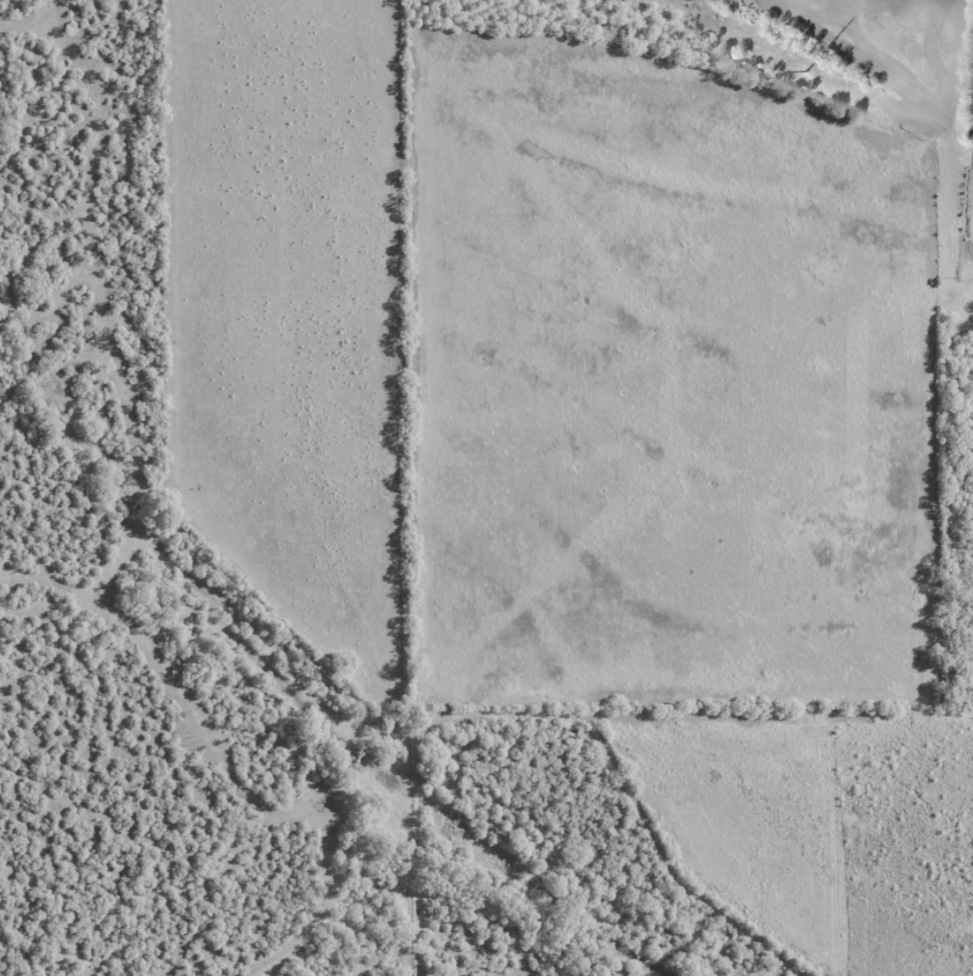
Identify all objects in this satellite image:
power tower: (806, 72)

